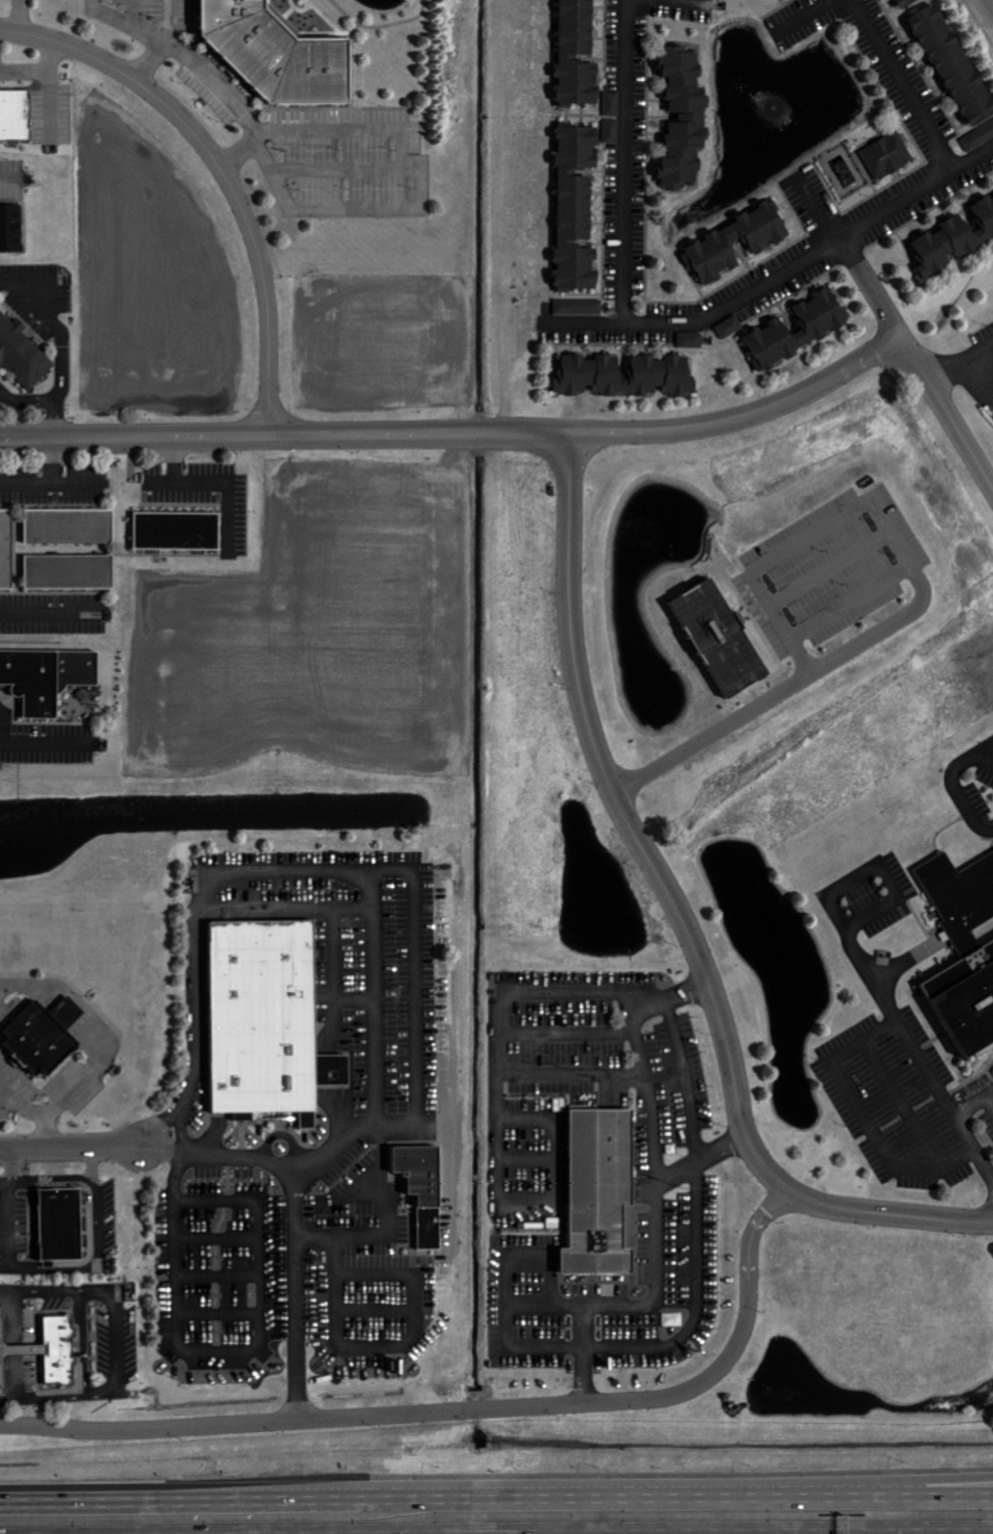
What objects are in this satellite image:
building: (906, 3)
road: (659, 12)
road: (824, 13)
road: (22, 16)
road: (135, 16)
road: (169, 22)
road: (123, 25)
building: (281, 54)
building: (579, 54)
road: (37, 68)
building: (959, 71)
road: (914, 80)
road: (215, 84)
building: (613, 104)
building: (16, 114)
building: (686, 117)
building: (612, 131)
building: (889, 155)
road: (619, 158)
road: (339, 166)
road: (226, 168)
road: (10, 178)
road: (422, 193)
building: (578, 209)
building: (12, 229)
building: (956, 240)
building: (719, 242)
road: (851, 252)
road: (779, 268)
building: (579, 307)
building: (731, 327)
building: (773, 332)
road: (54, 337)
building: (692, 340)
building: (22, 353)
road: (960, 363)
building: (662, 374)
road: (37, 407)
road: (947, 413)
road: (592, 433)
road: (132, 437)
road: (51, 464)
road: (48, 490)
road: (266, 497)
building: (71, 526)
building: (179, 531)
building: (7, 549)
building: (71, 572)
road: (923, 600)
road: (49, 623)
building: (724, 639)
building: (48, 677)
road: (629, 827)
road: (316, 872)
road: (850, 936)
building: (270, 1021)
road: (89, 1041)
building: (45, 1042)
road: (569, 1081)
road: (990, 1099)
road: (866, 1118)
road: (36, 1119)
road: (962, 1126)
road: (496, 1140)
road: (74, 1154)
road: (700, 1166)
road: (13, 1181)
road: (53, 1189)
building: (426, 1192)
road: (653, 1192)
building: (603, 1194)
road: (888, 1213)
road: (297, 1224)
building: (62, 1229)
road: (14, 1232)
road: (99, 1262)
road: (503, 1281)
road: (695, 1282)
road: (82, 1351)
road: (19, 1354)
building: (42, 1355)
road: (118, 1355)
road: (463, 1411)
road: (928, 1486)
road: (630, 1494)
road: (928, 1494)
road: (198, 1497)
road: (800, 1533)
road: (822, 1533)

